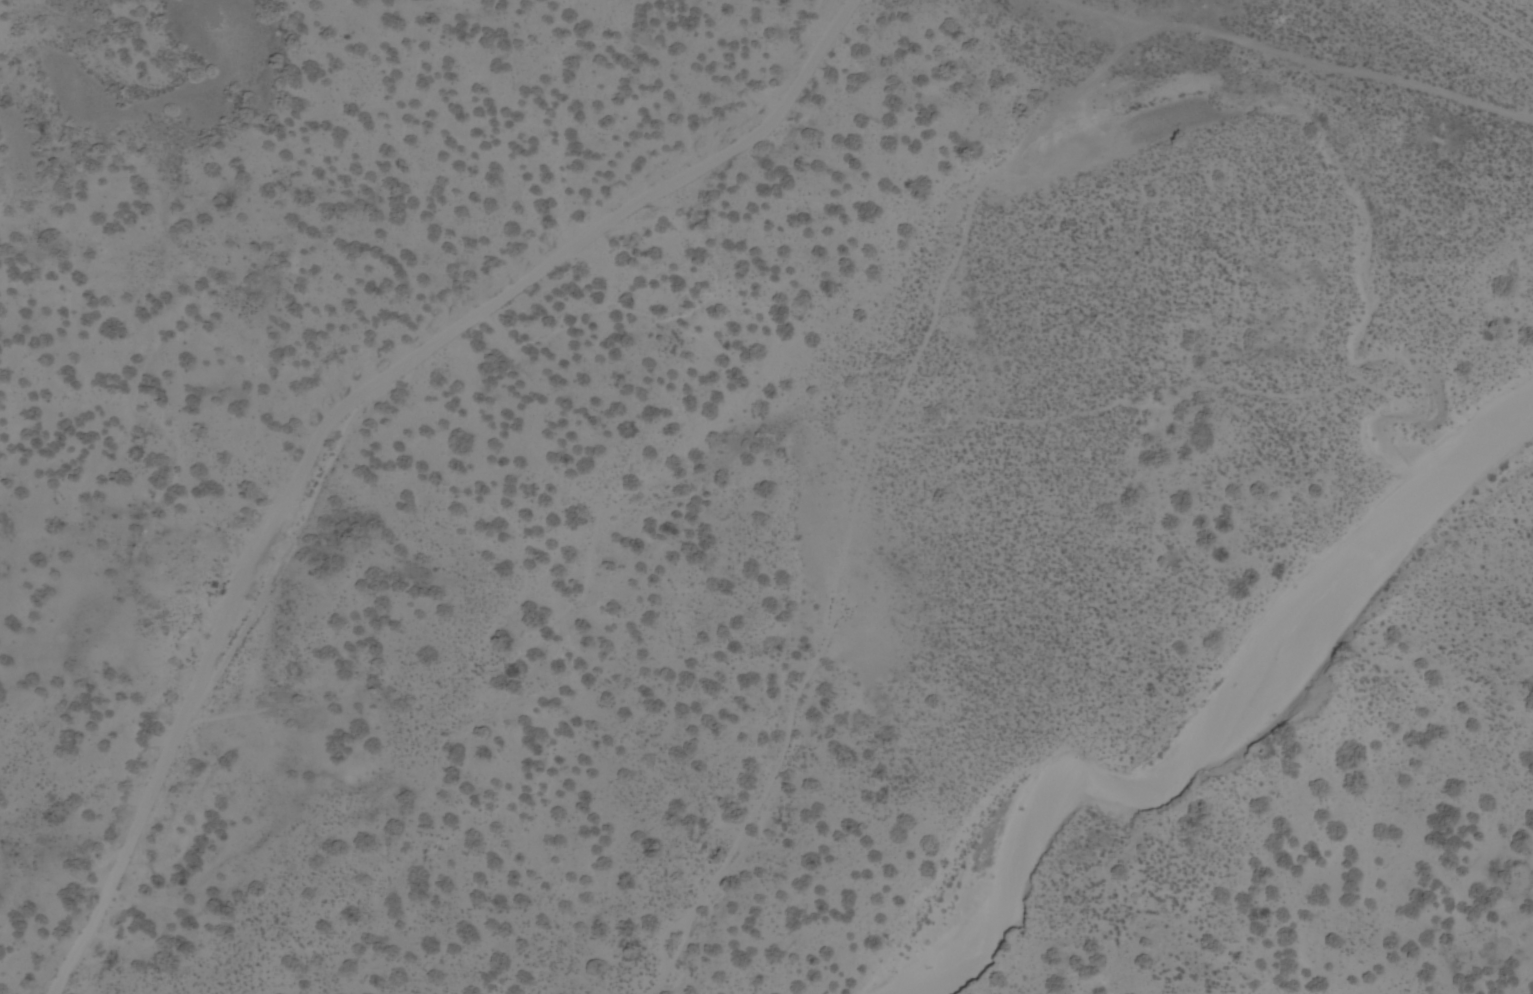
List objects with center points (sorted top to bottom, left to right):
road: (396, 421)

